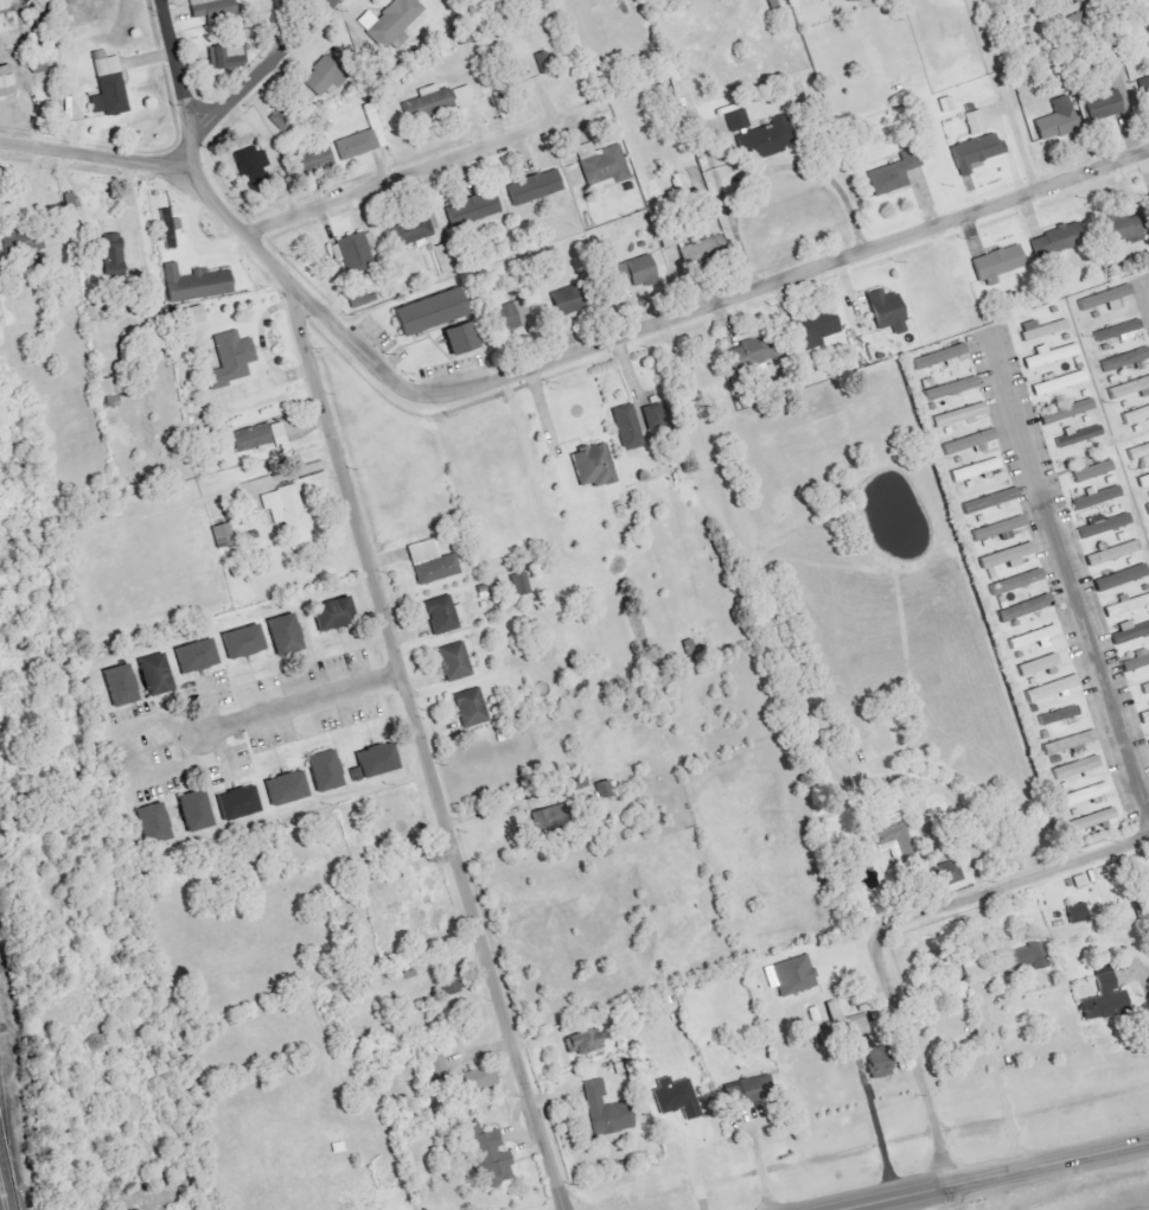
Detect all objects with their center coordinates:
building: (851, 0)
building: (772, 4)
building: (211, 8)
building: (1016, 20)
building: (390, 21)
building: (398, 43)
building: (229, 57)
road: (262, 69)
building: (509, 70)
building: (324, 77)
building: (6, 82)
building: (1144, 85)
road: (178, 88)
building: (107, 90)
building: (464, 96)
road: (1003, 96)
building: (1100, 102)
building: (427, 104)
building: (945, 104)
building: (736, 120)
building: (1055, 120)
building: (975, 122)
building: (764, 141)
building: (353, 148)
building: (975, 152)
road: (91, 154)
building: (313, 160)
building: (250, 161)
building: (602, 166)
road: (767, 166)
road: (420, 170)
building: (893, 173)
building: (534, 190)
building: (71, 206)
building: (472, 209)
building: (415, 225)
building: (1117, 228)
building: (168, 229)
building: (1053, 235)
building: (21, 241)
building: (701, 249)
building: (351, 253)
building: (111, 255)
building: (995, 266)
building: (631, 270)
building: (194, 286)
building: (1106, 299)
building: (358, 300)
building: (566, 301)
road: (700, 305)
building: (885, 312)
building: (192, 316)
building: (426, 318)
building: (504, 319)
building: (1042, 329)
building: (1119, 331)
building: (810, 333)
building: (459, 344)
building: (747, 355)
building: (1051, 356)
building: (939, 357)
building: (1125, 359)
building: (230, 363)
building: (1060, 383)
building: (951, 388)
building: (1130, 389)
building: (108, 391)
building: (1067, 412)
building: (960, 415)
building: (651, 416)
building: (1136, 416)
building: (626, 427)
building: (260, 437)
building: (1078, 437)
building: (970, 442)
building: (1136, 453)
building: (592, 466)
building: (976, 470)
building: (1092, 470)
building: (1143, 482)
building: (990, 501)
building: (1092, 502)
building: (1148, 507)
building: (287, 514)
building: (998, 528)
building: (1102, 530)
building: (222, 535)
building: (1113, 553)
building: (1006, 556)
building: (436, 569)
building: (1121, 578)
building: (1015, 582)
road: (1068, 588)
road: (762, 592)
building: (1126, 606)
building: (1022, 609)
building: (440, 618)
building: (331, 619)
building: (1130, 633)
building: (282, 635)
building: (1032, 637)
building: (240, 642)
building: (193, 656)
building: (1136, 661)
building: (452, 664)
building: (1038, 664)
road: (401, 673)
building: (152, 675)
building: (117, 686)
building: (1051, 689)
building: (1145, 689)
road: (298, 702)
building: (468, 711)
building: (1058, 715)
building: (1144, 717)
building: (1148, 741)
building: (1071, 743)
road: (125, 754)
building: (374, 766)
building: (1075, 769)
building: (323, 775)
building: (283, 788)
building: (602, 789)
building: (1084, 796)
building: (236, 803)
building: (192, 811)
building: (542, 819)
building: (1092, 820)
building: (152, 829)
building: (891, 838)
building: (947, 873)
road: (1008, 883)
building: (1077, 913)
building: (1028, 957)
building: (975, 975)
building: (793, 976)
building: (451, 983)
road: (1145, 994)
building: (1104, 998)
building: (831, 1012)
building: (854, 1026)
building: (582, 1042)
building: (877, 1063)
building: (439, 1065)
road: (918, 1076)
building: (478, 1080)
road: (998, 1085)
building: (745, 1095)
building: (675, 1097)
building: (599, 1108)
road: (874, 1132)
railway: (2, 1152)
building: (481, 1158)
road: (757, 1165)
road: (694, 1166)
road: (1003, 1178)
railway: (6, 1179)

